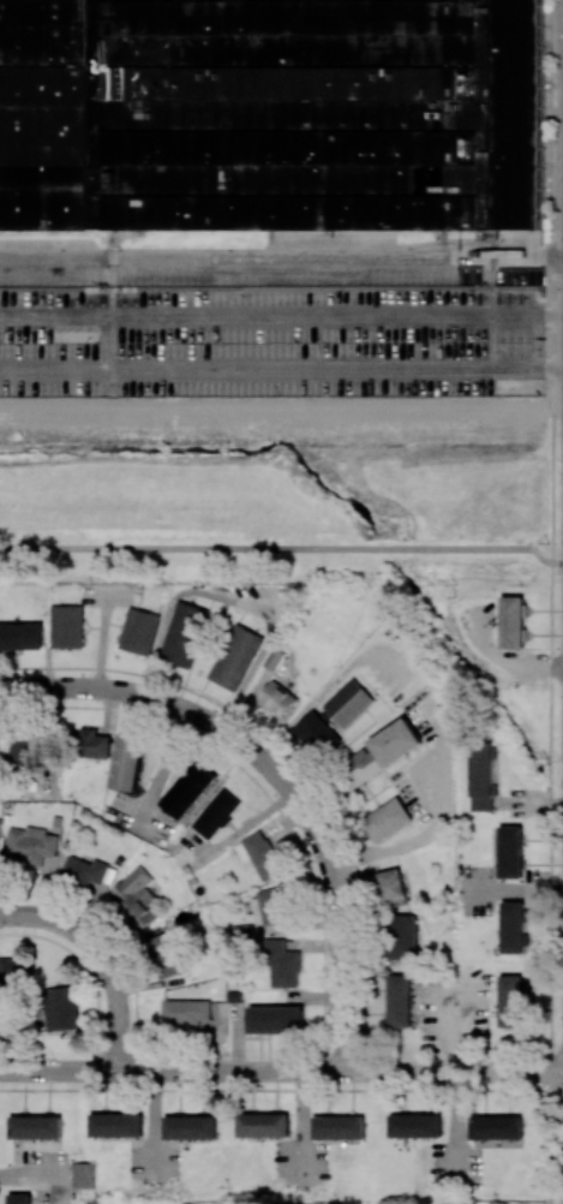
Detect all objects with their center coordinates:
road: (281, 258)
road: (281, 317)
road: (281, 369)
road: (281, 407)
road: (283, 548)
road: (233, 602)
building: (513, 622)
building: (67, 626)
building: (138, 631)
building: (182, 634)
building: (22, 636)
building: (235, 657)
road: (329, 686)
building: (277, 698)
building: (348, 703)
building: (316, 733)
building: (90, 744)
building: (23, 751)
building: (379, 753)
building: (127, 762)
road: (163, 768)
building: (483, 777)
road: (278, 780)
building: (188, 789)
building: (216, 813)
building: (387, 819)
road: (441, 824)
building: (29, 845)
building: (510, 852)
building: (259, 854)
building: (83, 870)
building: (393, 887)
road: (516, 894)
building: (136, 896)
building: (270, 906)
building: (514, 928)
building: (403, 937)
building: (168, 954)
road: (101, 958)
building: (282, 964)
building: (14, 970)
building: (400, 1001)
building: (511, 1001)
building: (60, 1008)
building: (185, 1012)
building: (276, 1019)
road: (281, 1072)
building: (116, 1125)
building: (263, 1125)
building: (415, 1126)
building: (36, 1127)
building: (190, 1127)
building: (339, 1127)
building: (496, 1127)
building: (83, 1175)
building: (19, 1198)

